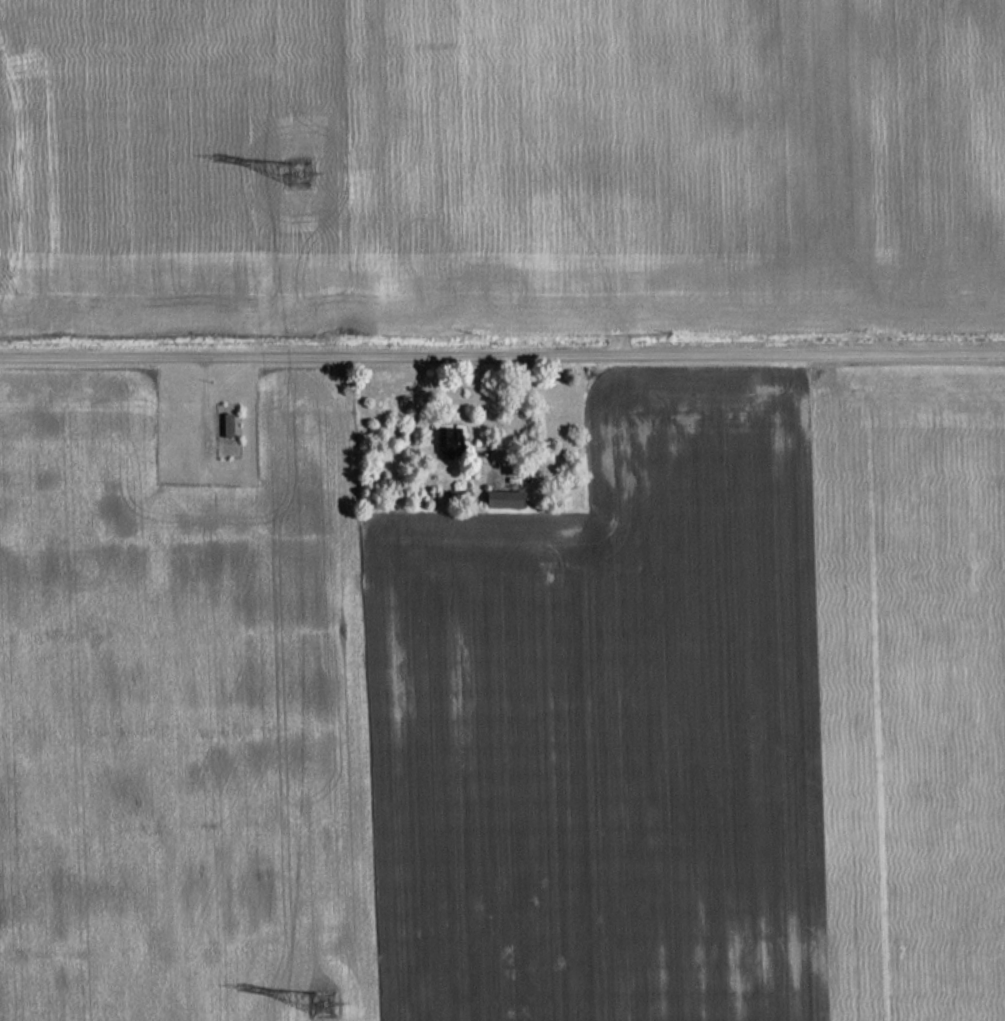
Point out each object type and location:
crop: (173, 161)
crop: (677, 161)
power tower: (295, 173)
road: (502, 351)
road: (204, 406)
building: (227, 425)
building: (501, 500)
crop: (181, 698)
crop: (702, 714)
power tower: (311, 997)

